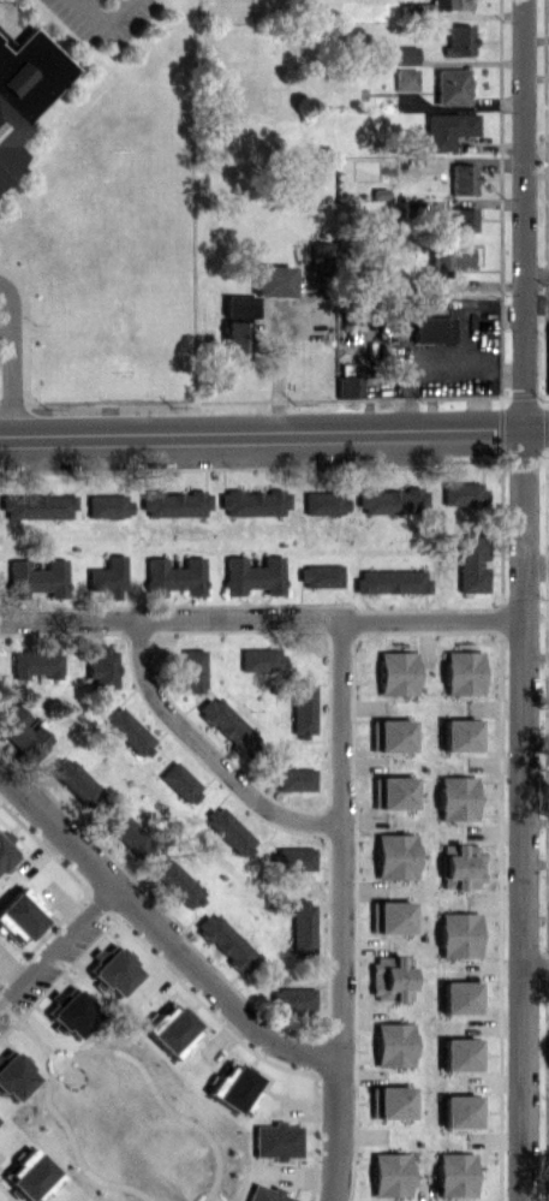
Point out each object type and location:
building: (454, 4)
building: (414, 10)
road: (99, 19)
building: (456, 40)
building: (4, 43)
building: (404, 54)
building: (32, 72)
building: (404, 79)
building: (449, 85)
building: (447, 129)
building: (7, 142)
building: (407, 163)
building: (461, 178)
road: (521, 214)
building: (453, 220)
building: (449, 257)
building: (317, 258)
road: (536, 273)
building: (270, 280)
building: (429, 328)
building: (232, 339)
building: (548, 355)
road: (274, 357)
road: (6, 361)
building: (346, 386)
road: (535, 427)
road: (261, 433)
building: (460, 493)
building: (389, 499)
building: (251, 501)
building: (322, 501)
building: (172, 503)
building: (35, 505)
building: (105, 505)
building: (470, 561)
road: (535, 569)
building: (252, 575)
building: (318, 575)
building: (37, 576)
building: (107, 576)
building: (173, 576)
building: (389, 579)
road: (430, 618)
road: (169, 619)
building: (261, 659)
building: (35, 662)
building: (102, 667)
building: (191, 668)
building: (395, 672)
building: (460, 672)
building: (302, 707)
building: (225, 724)
building: (20, 729)
building: (127, 730)
building: (459, 733)
building: (389, 735)
road: (209, 749)
building: (292, 778)
building: (178, 780)
building: (76, 781)
building: (392, 791)
building: (454, 797)
road: (523, 814)
building: (228, 830)
building: (130, 834)
building: (5, 852)
building: (394, 855)
building: (294, 857)
building: (459, 866)
building: (177, 882)
road: (338, 908)
building: (18, 915)
building: (389, 916)
road: (159, 926)
building: (302, 926)
building: (456, 933)
building: (225, 940)
road: (60, 949)
road: (536, 967)
building: (113, 969)
building: (389, 979)
building: (459, 997)
building: (292, 998)
building: (72, 1011)
building: (169, 1028)
building: (393, 1044)
building: (460, 1053)
building: (14, 1076)
road: (90, 1086)
building: (234, 1088)
building: (389, 1101)
building: (459, 1111)
building: (276, 1140)
building: (389, 1173)
building: (453, 1173)
building: (30, 1176)
building: (265, 1194)

